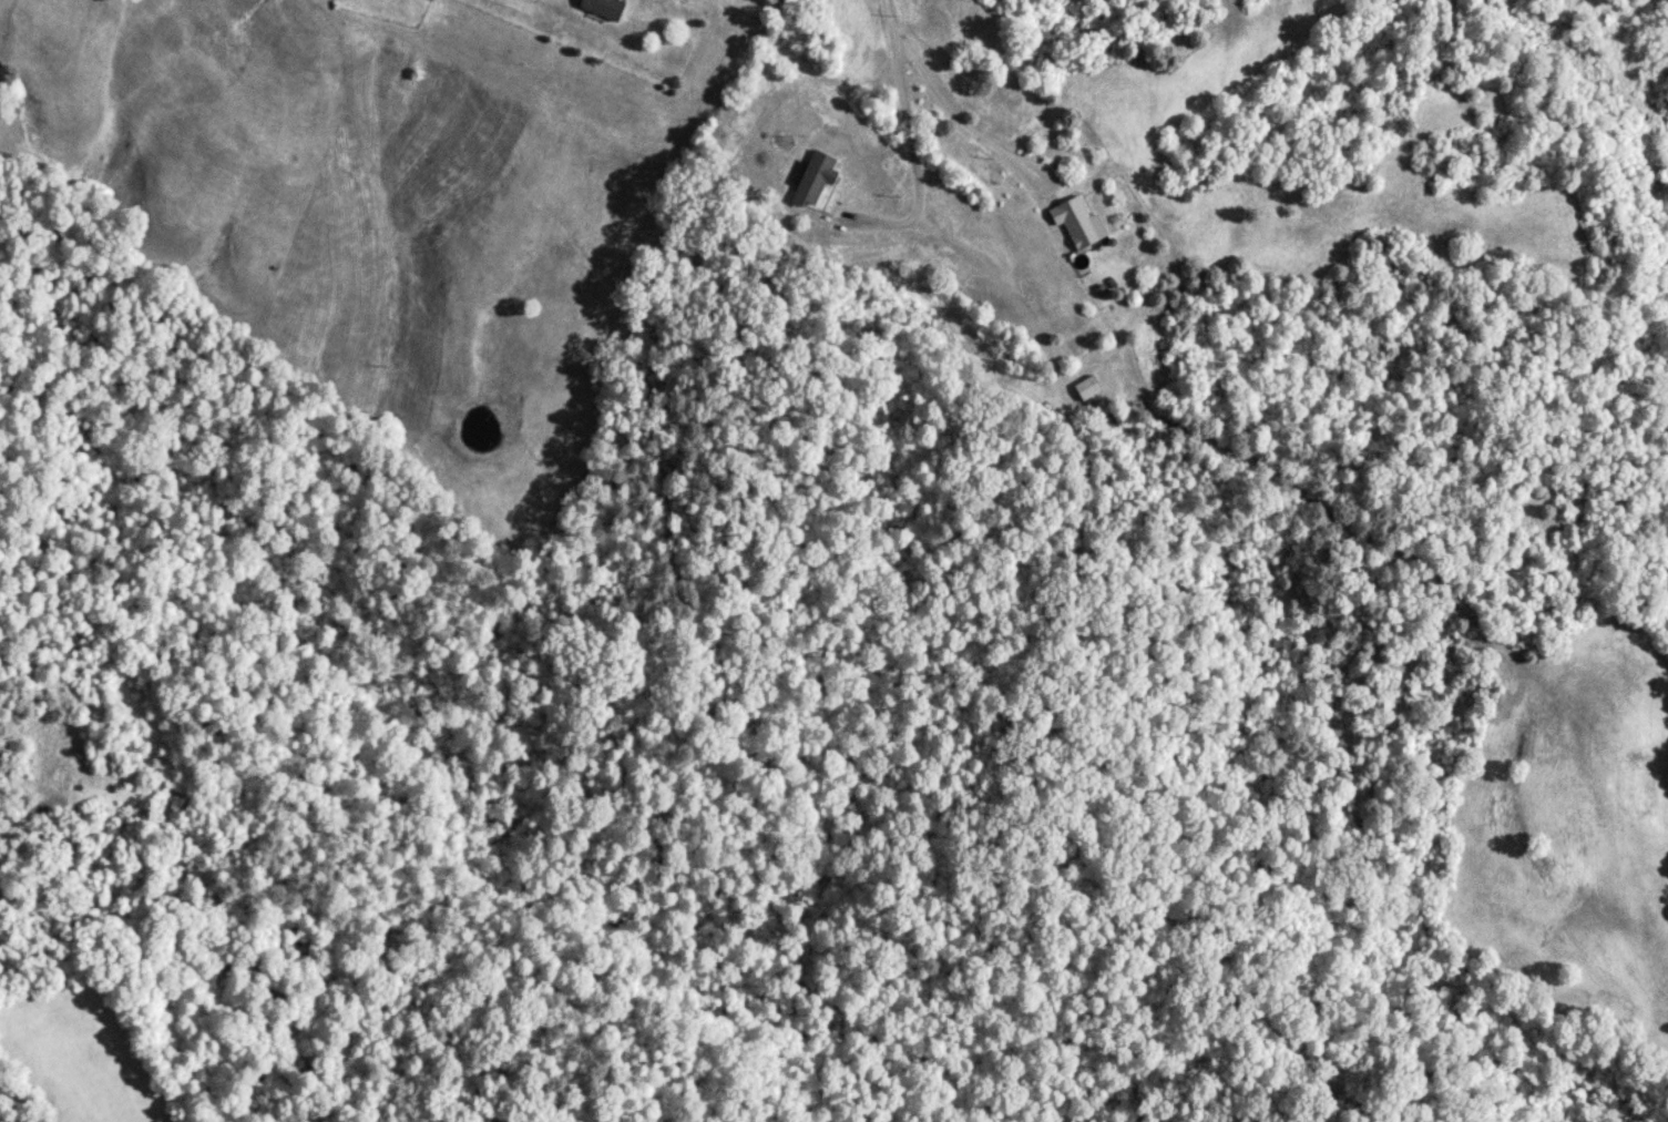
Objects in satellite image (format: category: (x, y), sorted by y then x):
building: (606, 9)
road: (1647, 24)
road: (901, 106)
building: (816, 181)
building: (1079, 224)
building: (1088, 388)

